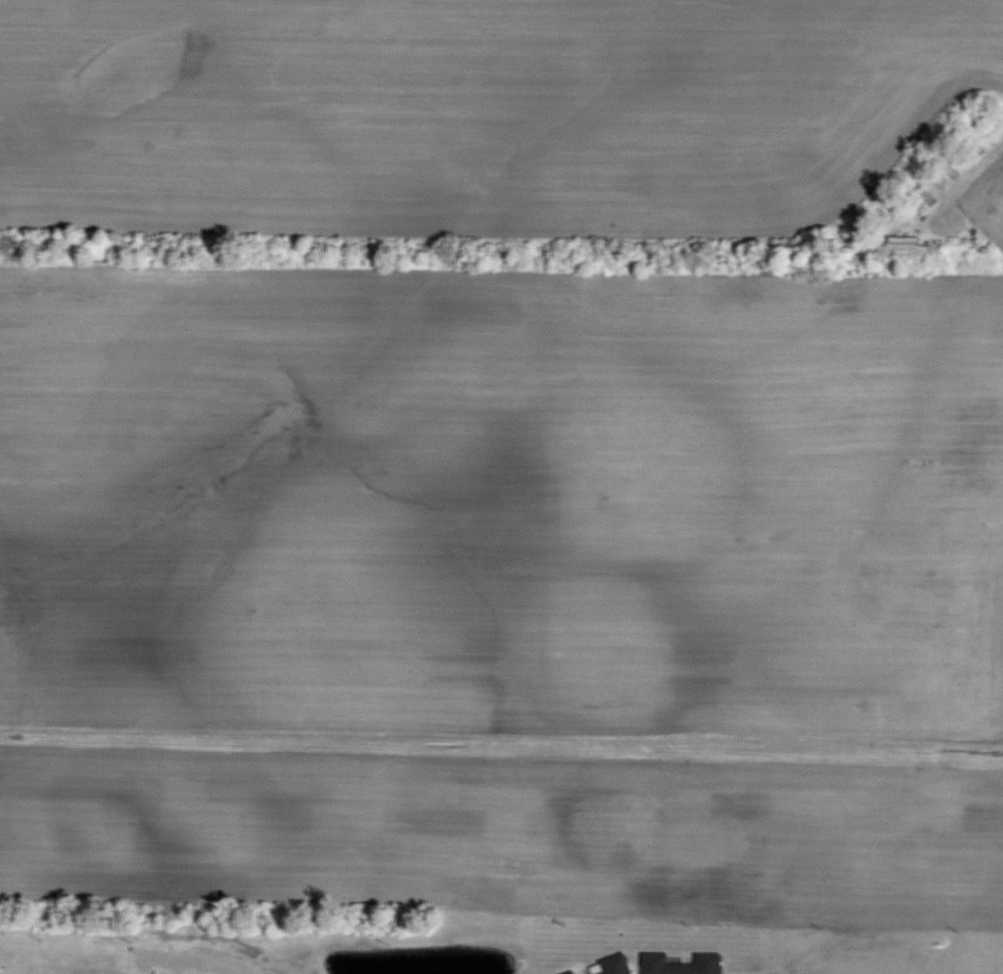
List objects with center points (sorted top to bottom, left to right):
building: (905, 241)
building: (682, 964)
building: (613, 966)
building: (572, 972)

